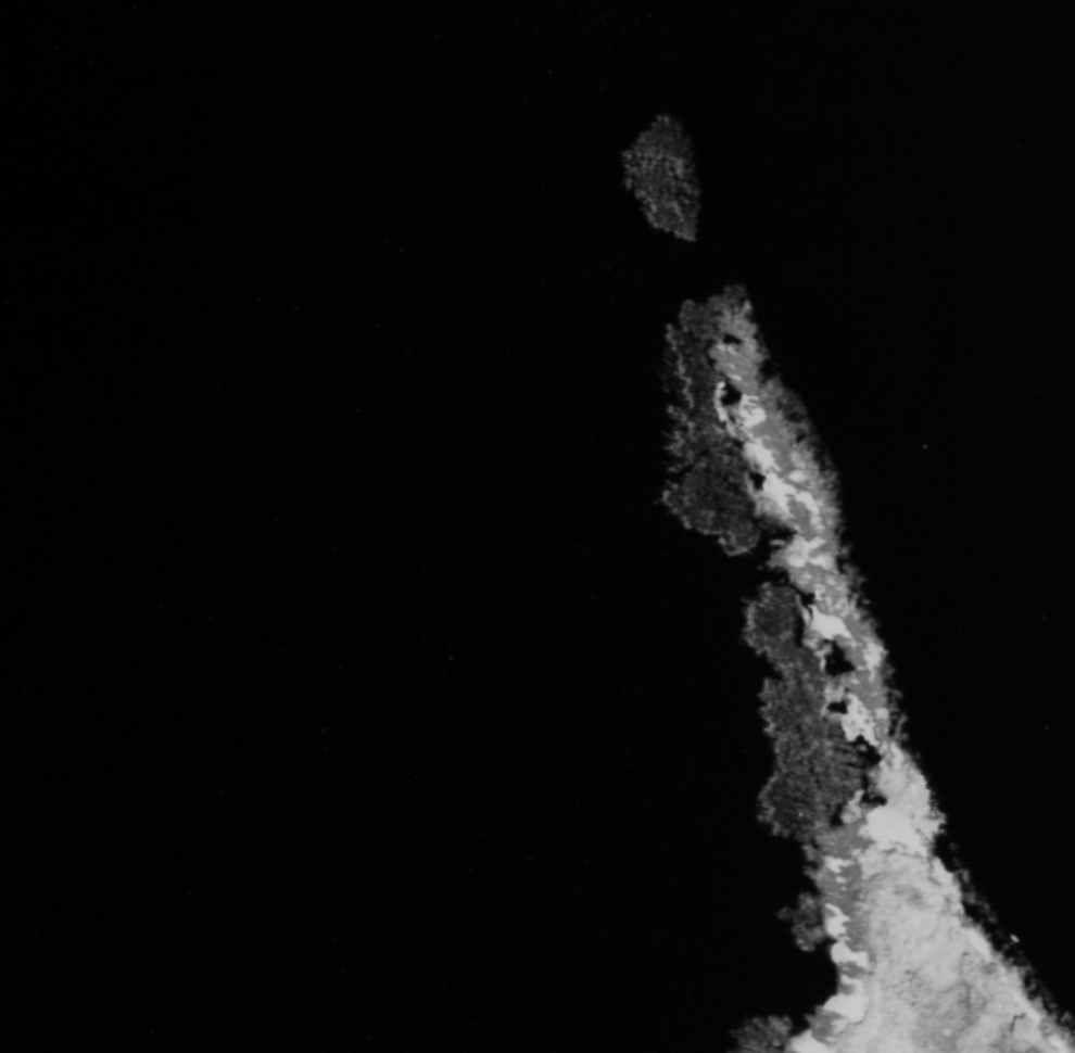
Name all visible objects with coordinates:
river: (992, 237)

